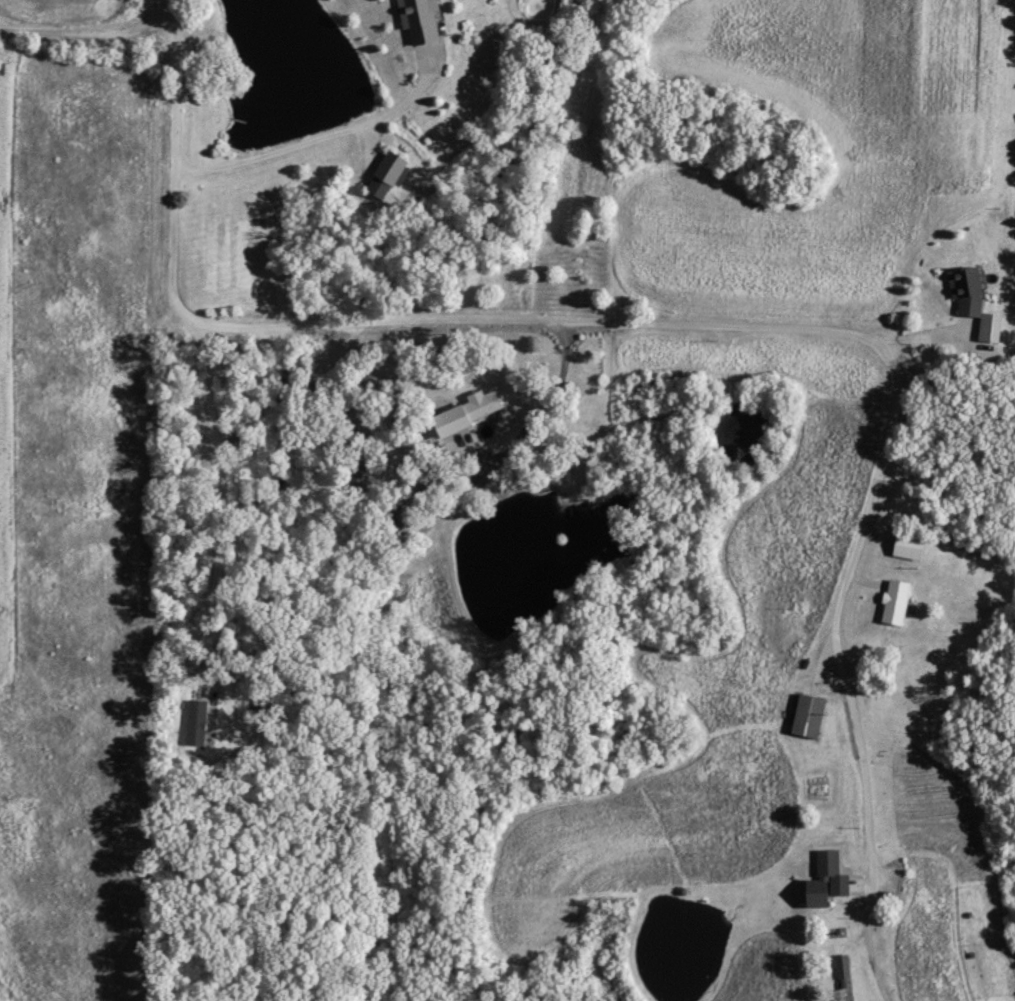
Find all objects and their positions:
building: (422, 19)
road: (86, 29)
building: (389, 173)
building: (977, 301)
road: (713, 326)
building: (472, 411)
building: (359, 473)
building: (912, 546)
building: (898, 601)
building: (812, 716)
building: (198, 721)
building: (829, 880)
building: (844, 965)

